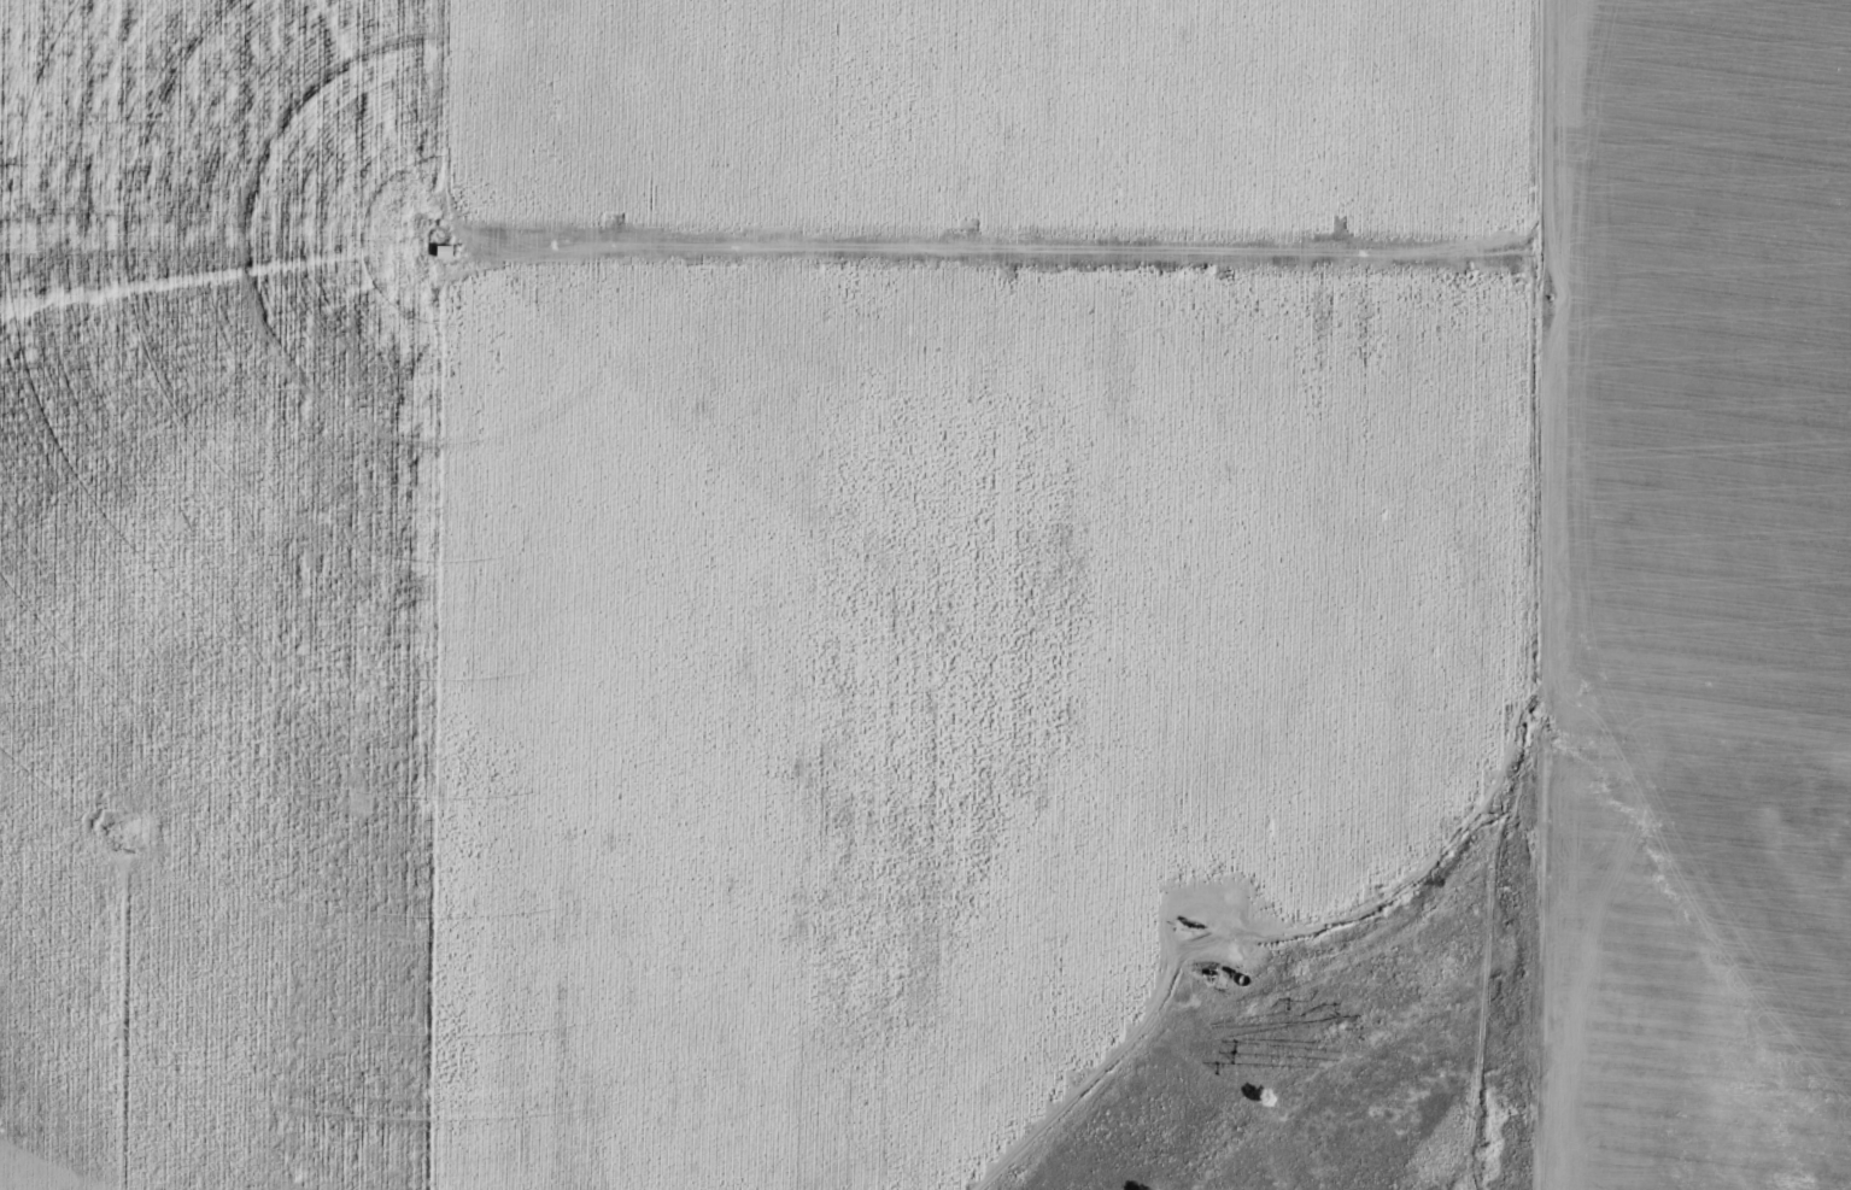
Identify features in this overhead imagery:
road: (1551, 594)
petroleum well: (1193, 922)
road: (1264, 950)

